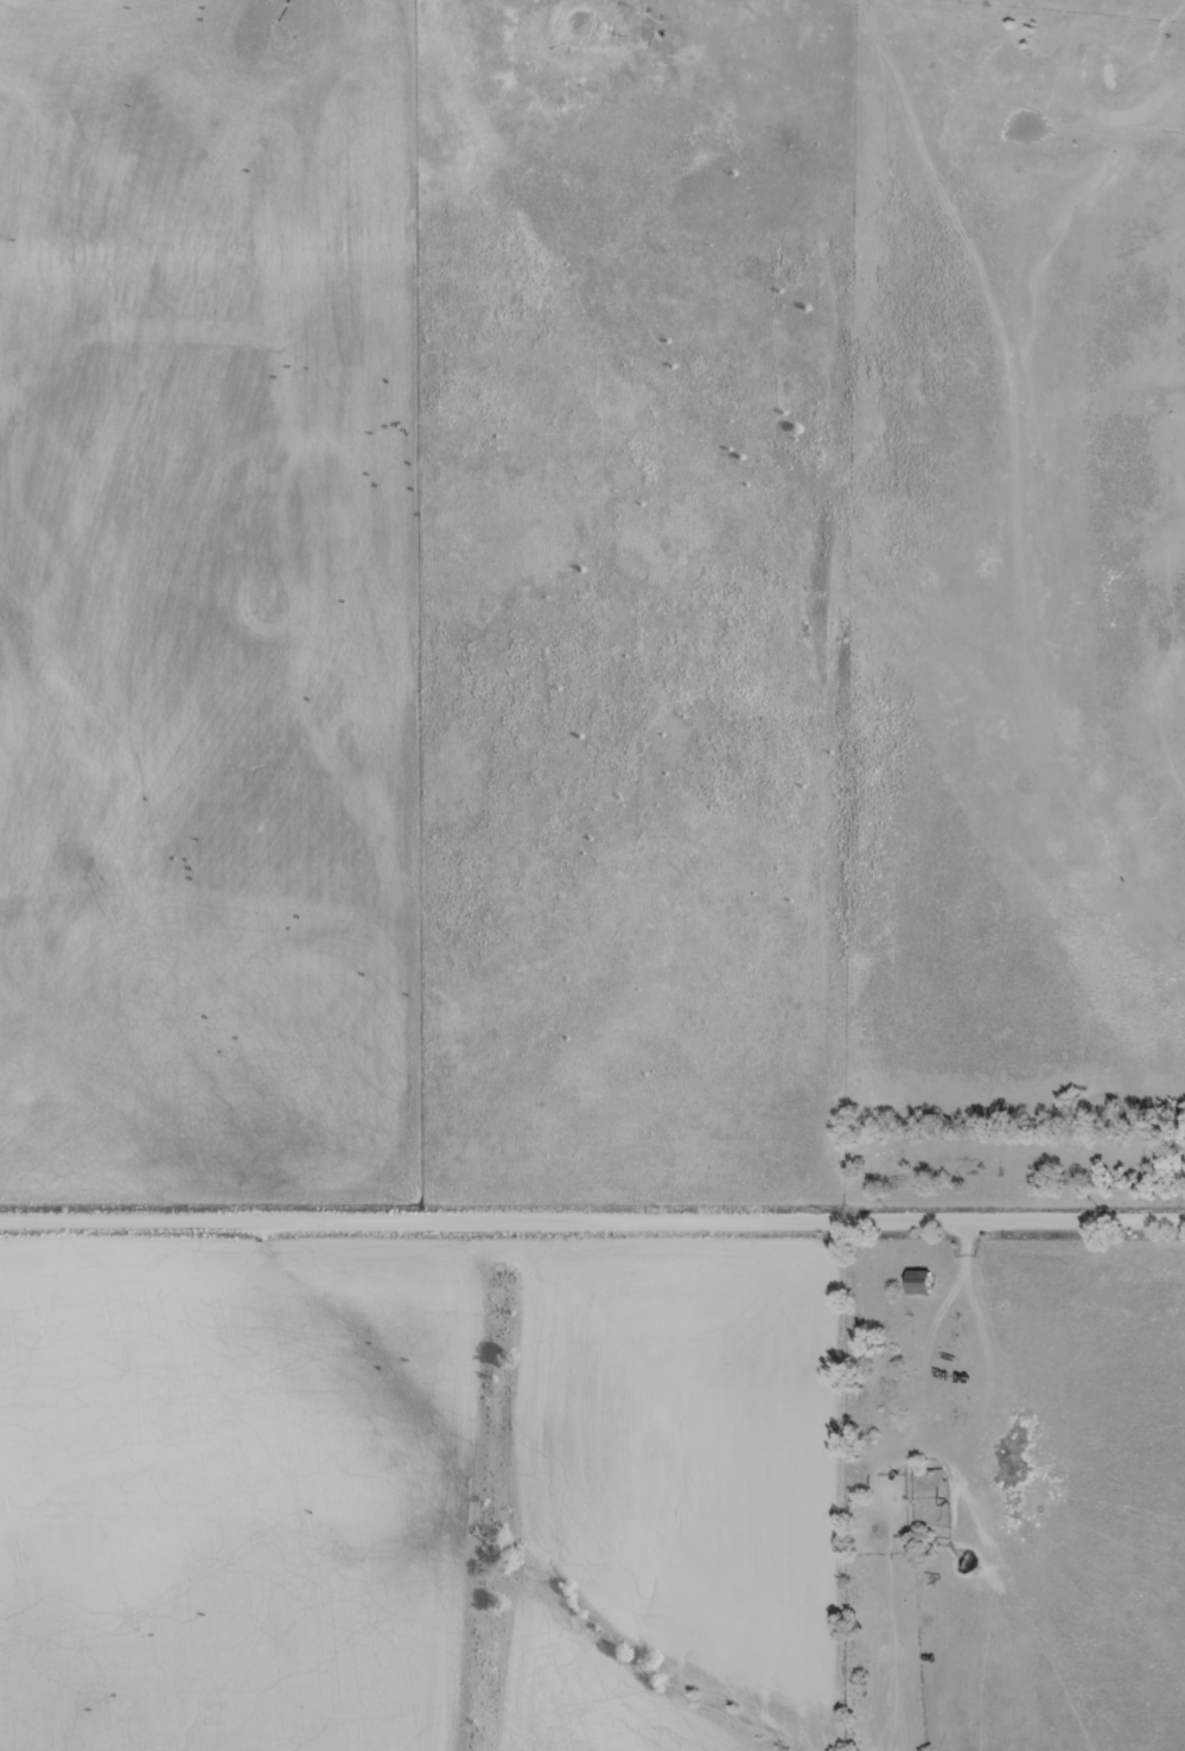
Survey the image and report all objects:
road: (592, 1220)
building: (910, 1282)

